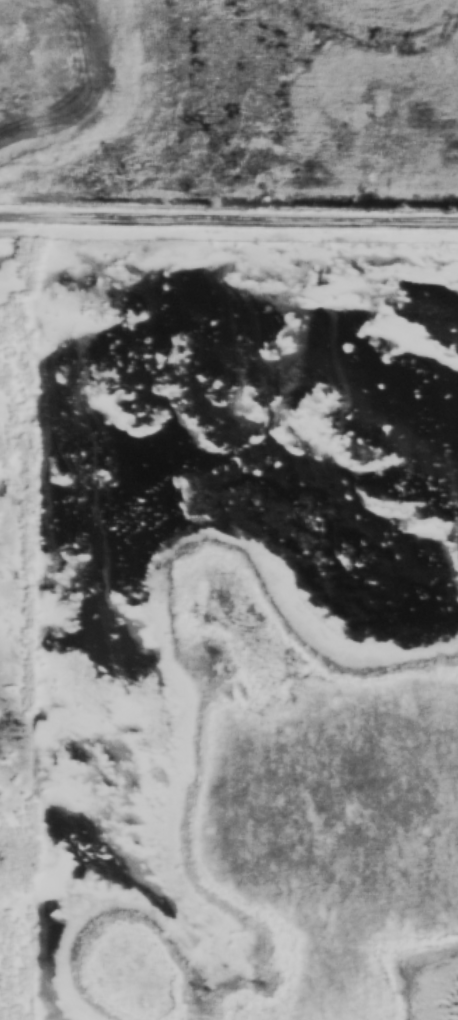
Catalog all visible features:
road: (229, 219)

